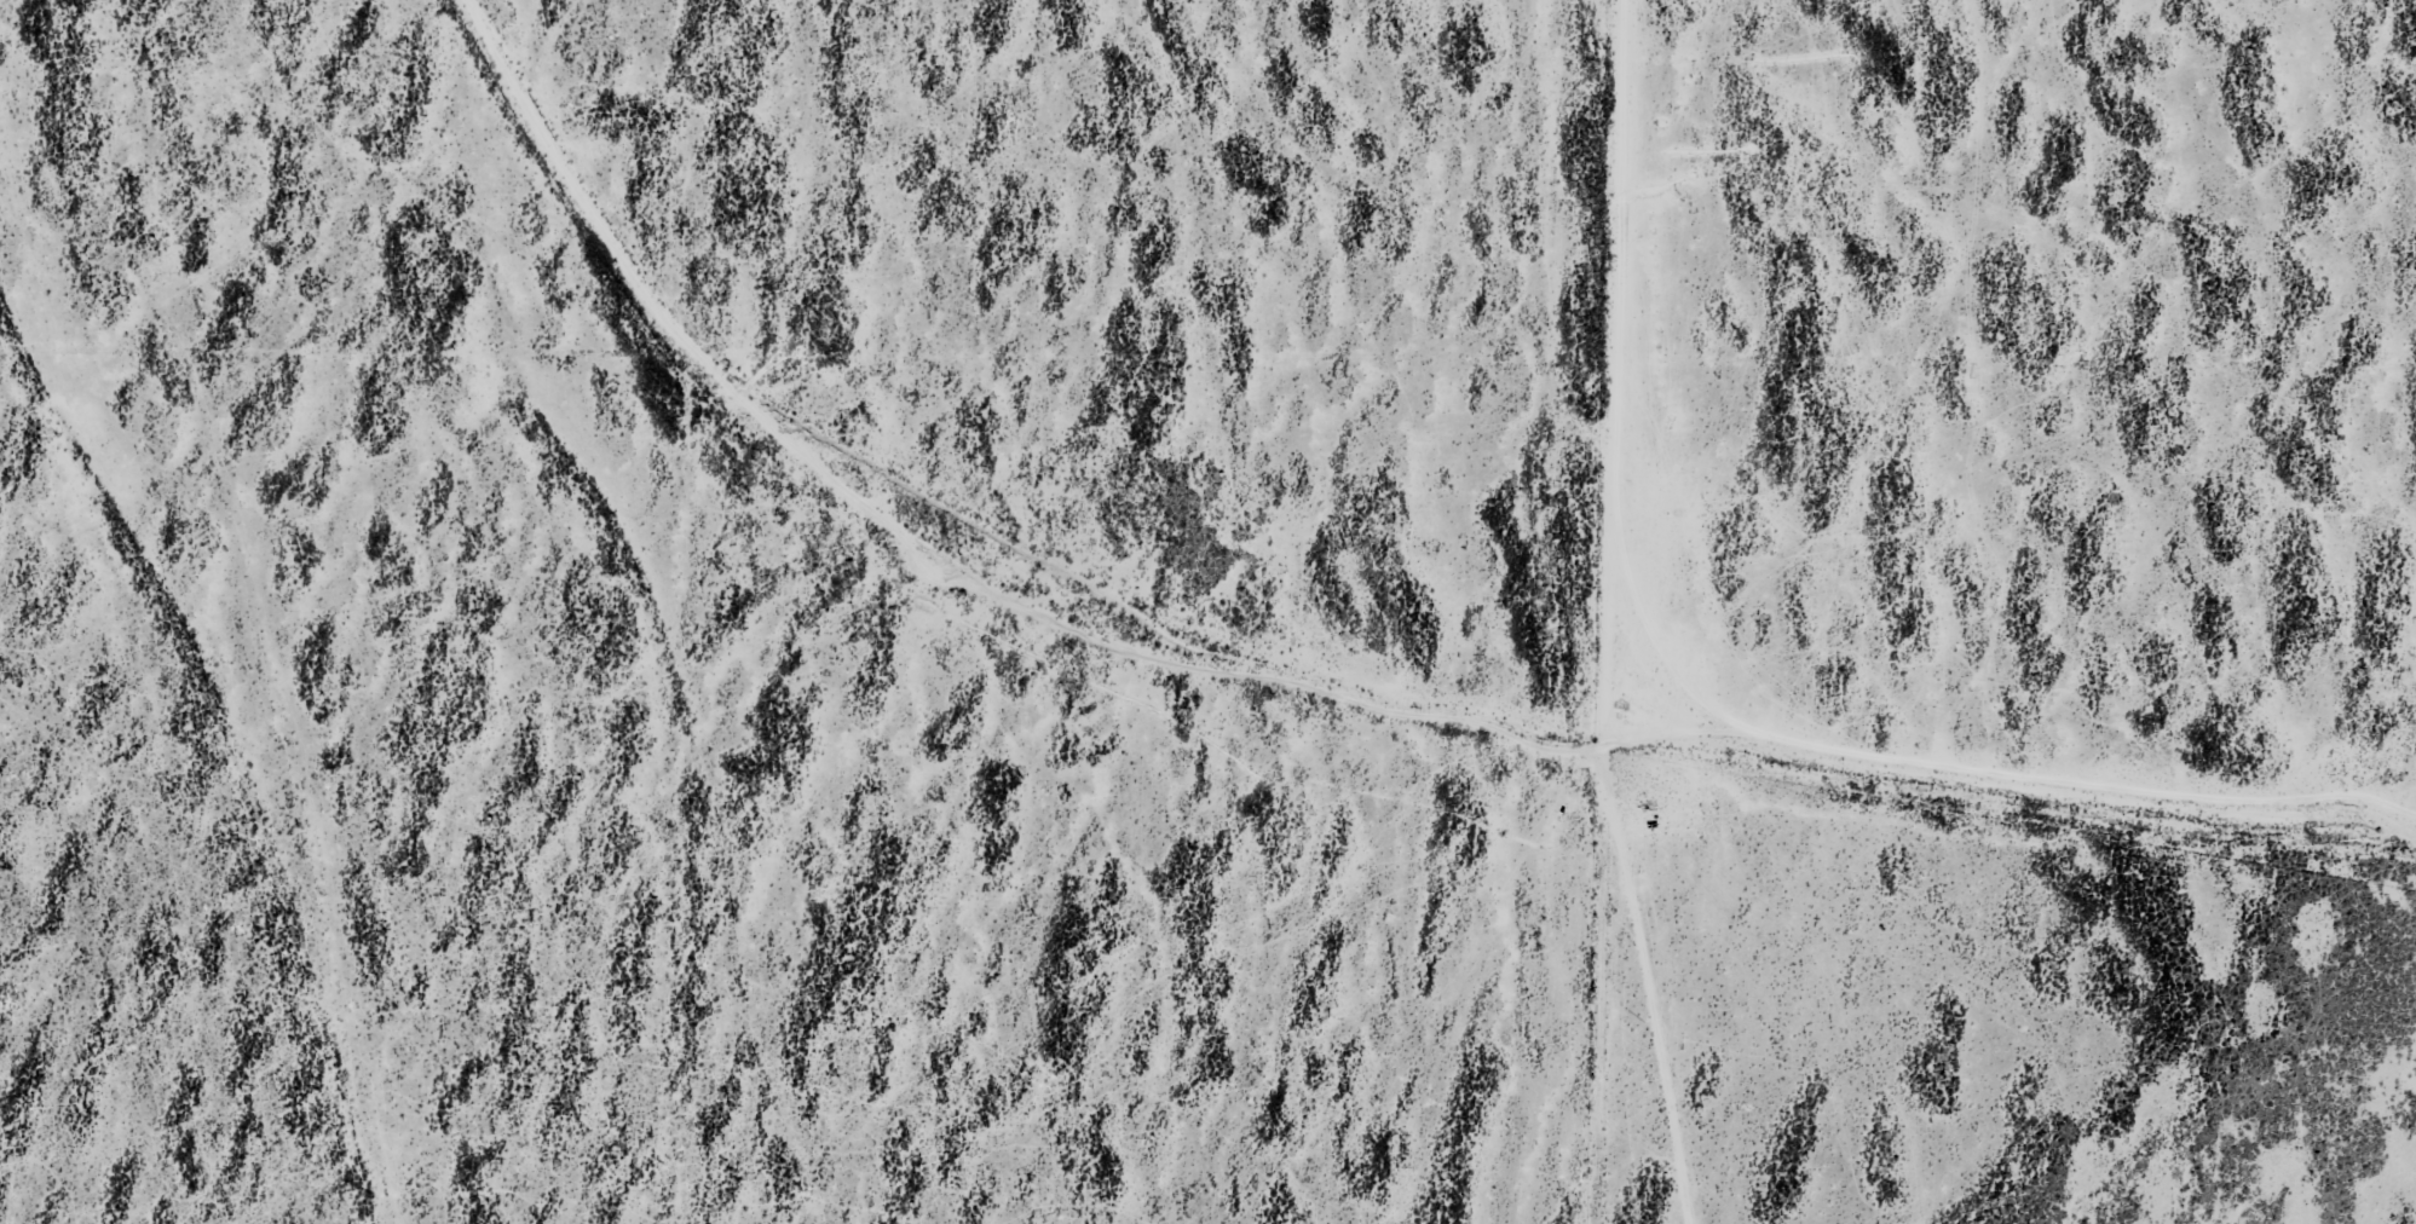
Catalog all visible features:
road: (1286, 662)

